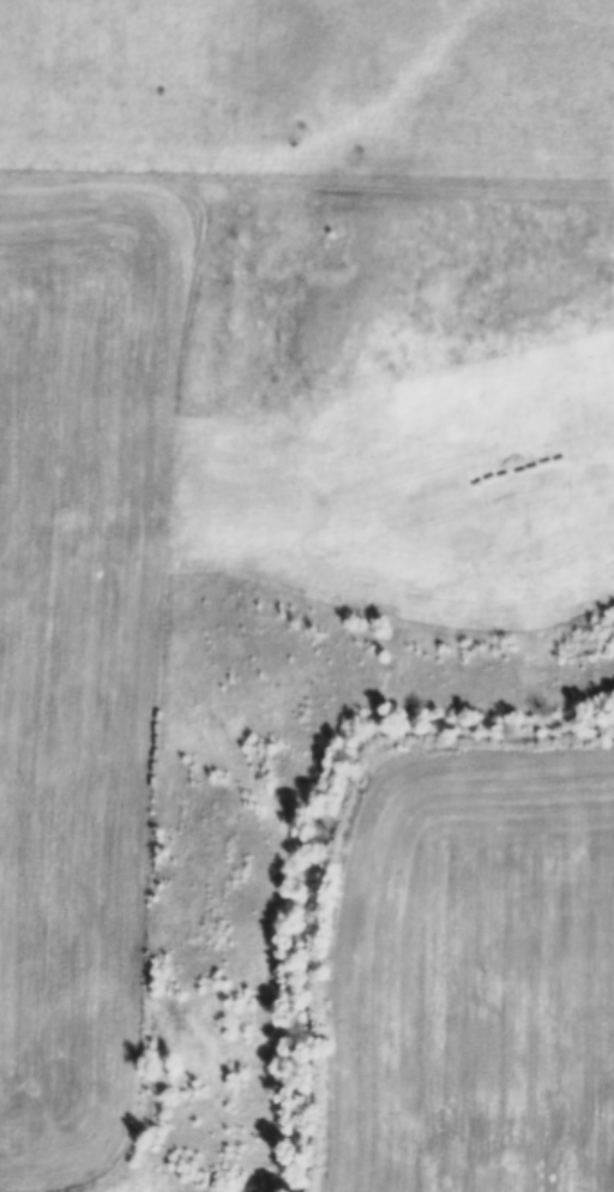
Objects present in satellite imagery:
road: (306, 170)

